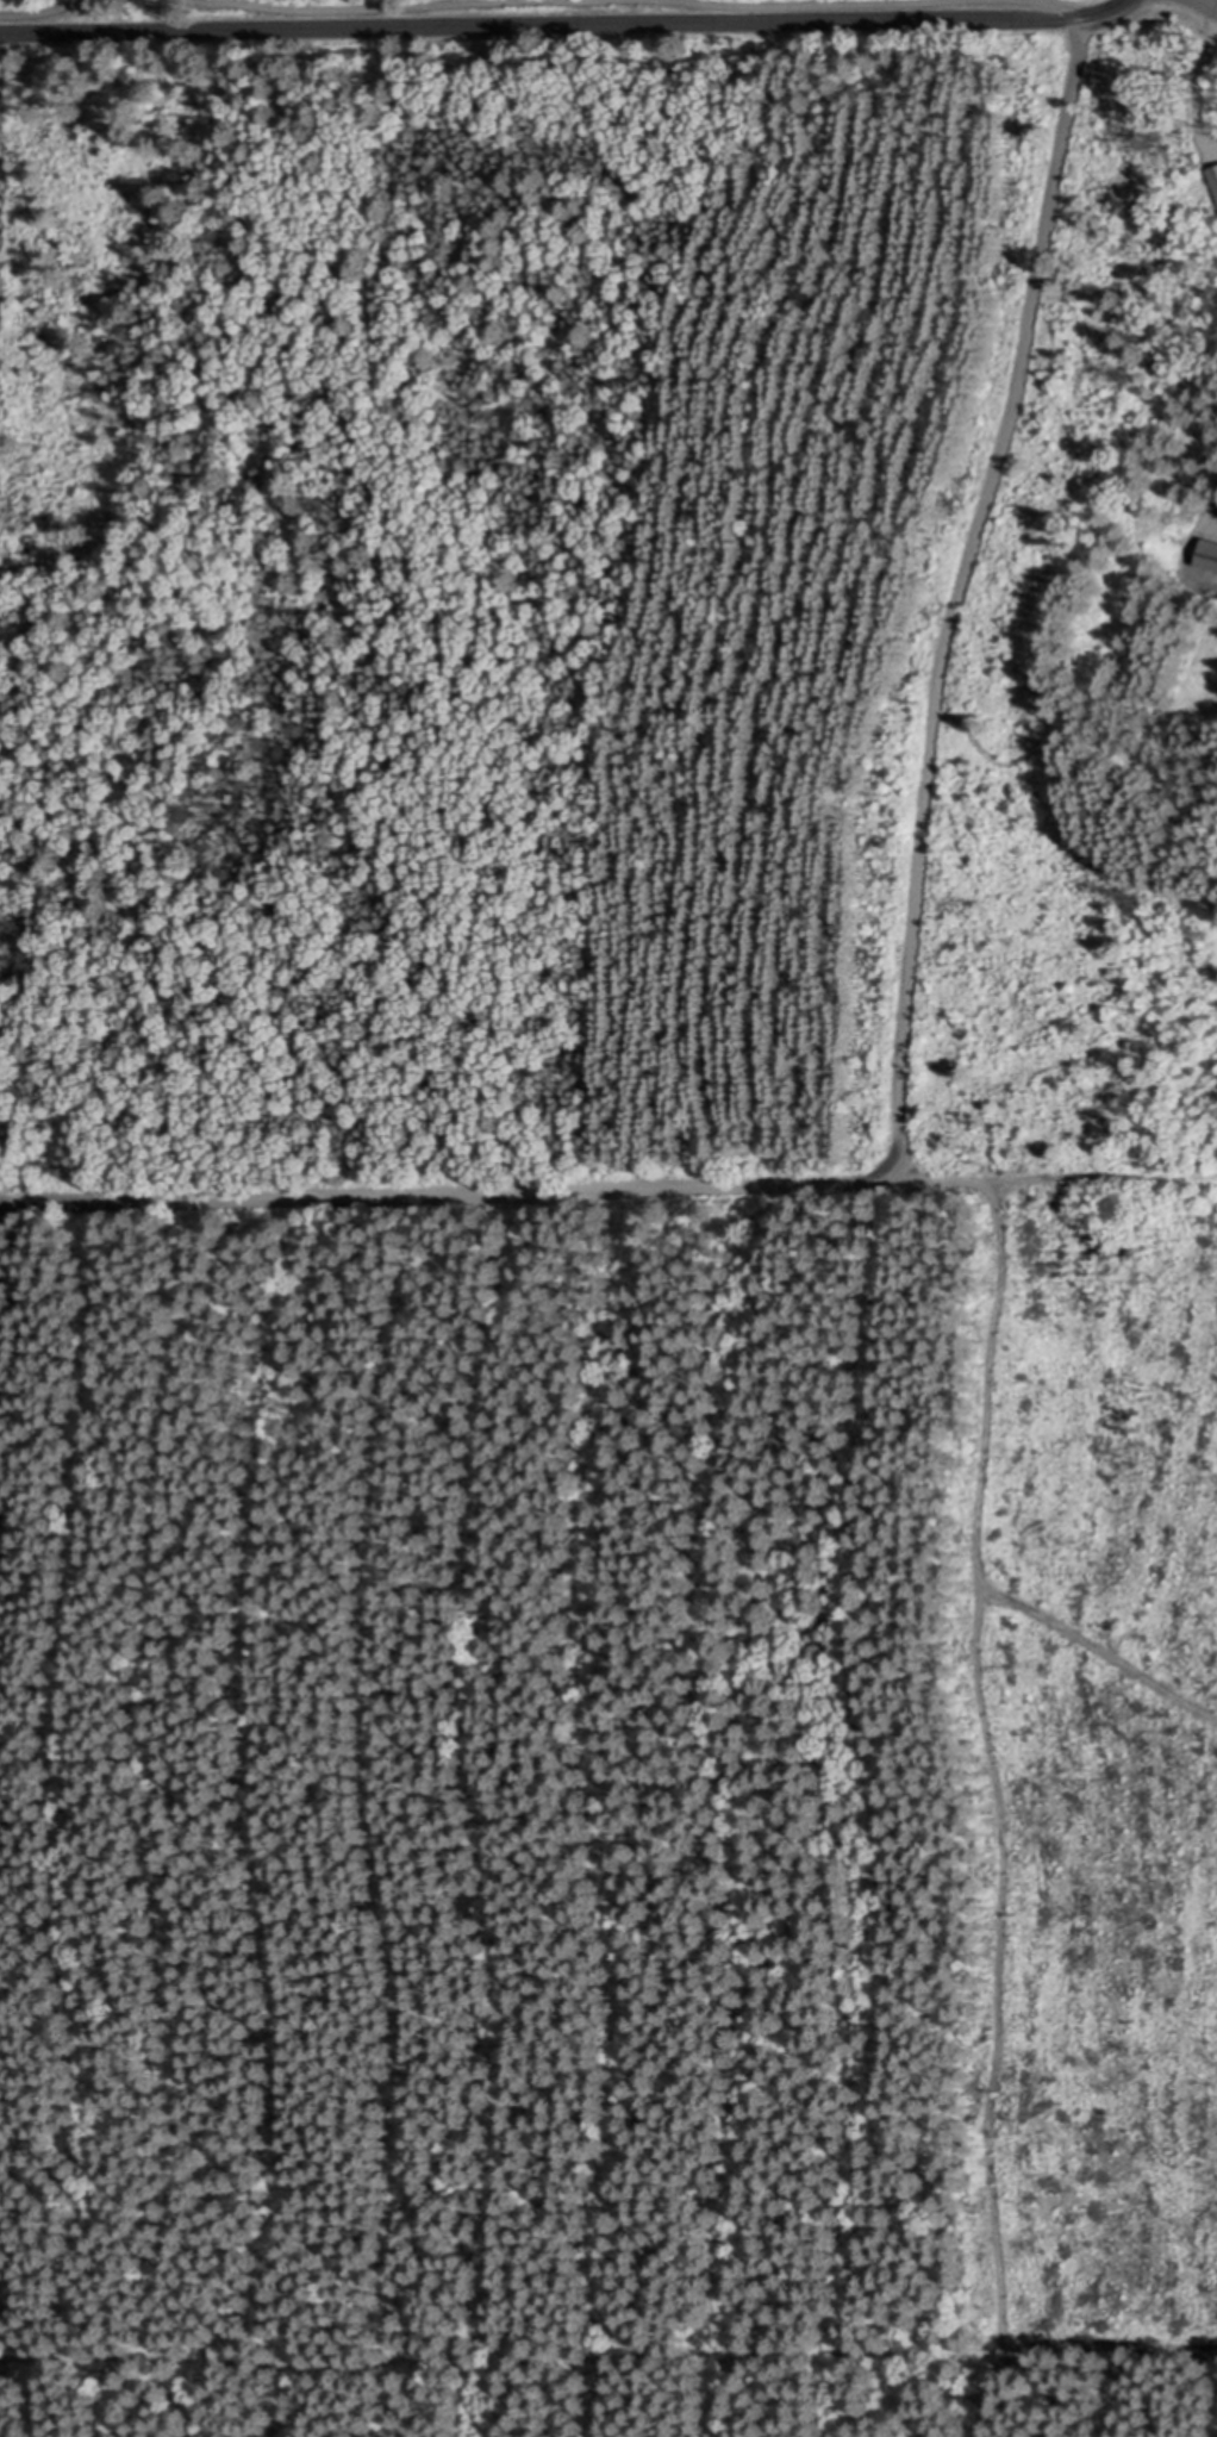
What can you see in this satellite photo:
road: (569, 0)
road: (158, 2)
road: (1211, 2)
road: (780, 4)
road: (374, 5)
road: (1056, 8)
road: (51, 13)
road: (570, 25)
road: (1200, 88)
road: (2, 113)
building: (1215, 174)
building: (1209, 555)
road: (904, 1049)
road: (1055, 1179)
road: (2, 1218)
road: (1099, 1652)
road: (999, 1808)
road: (607, 2351)

